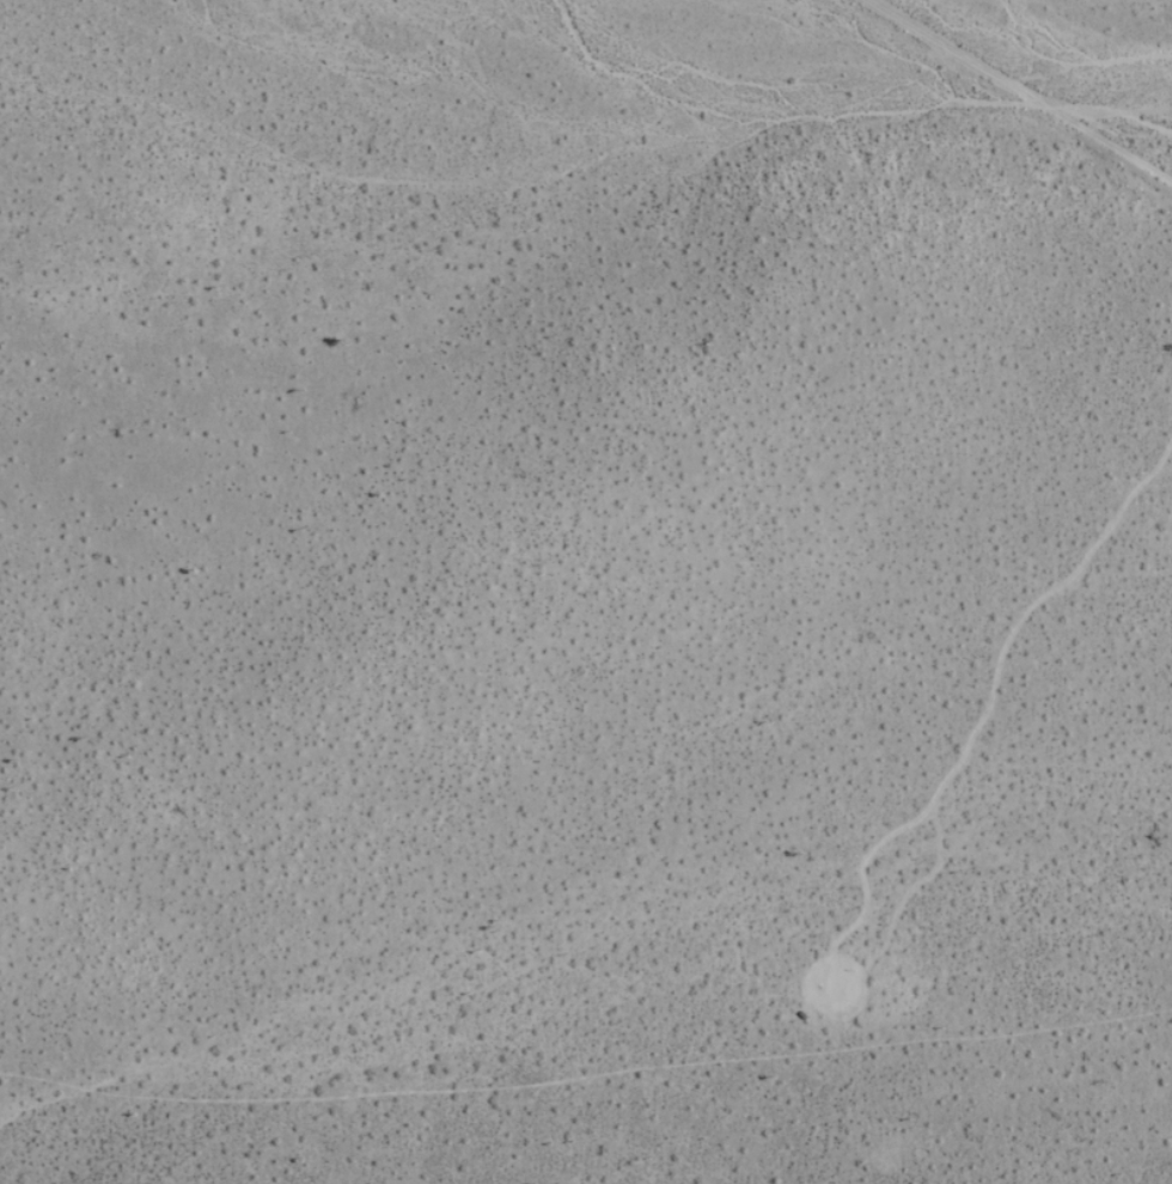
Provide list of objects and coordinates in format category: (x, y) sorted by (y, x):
road: (1018, 91)

